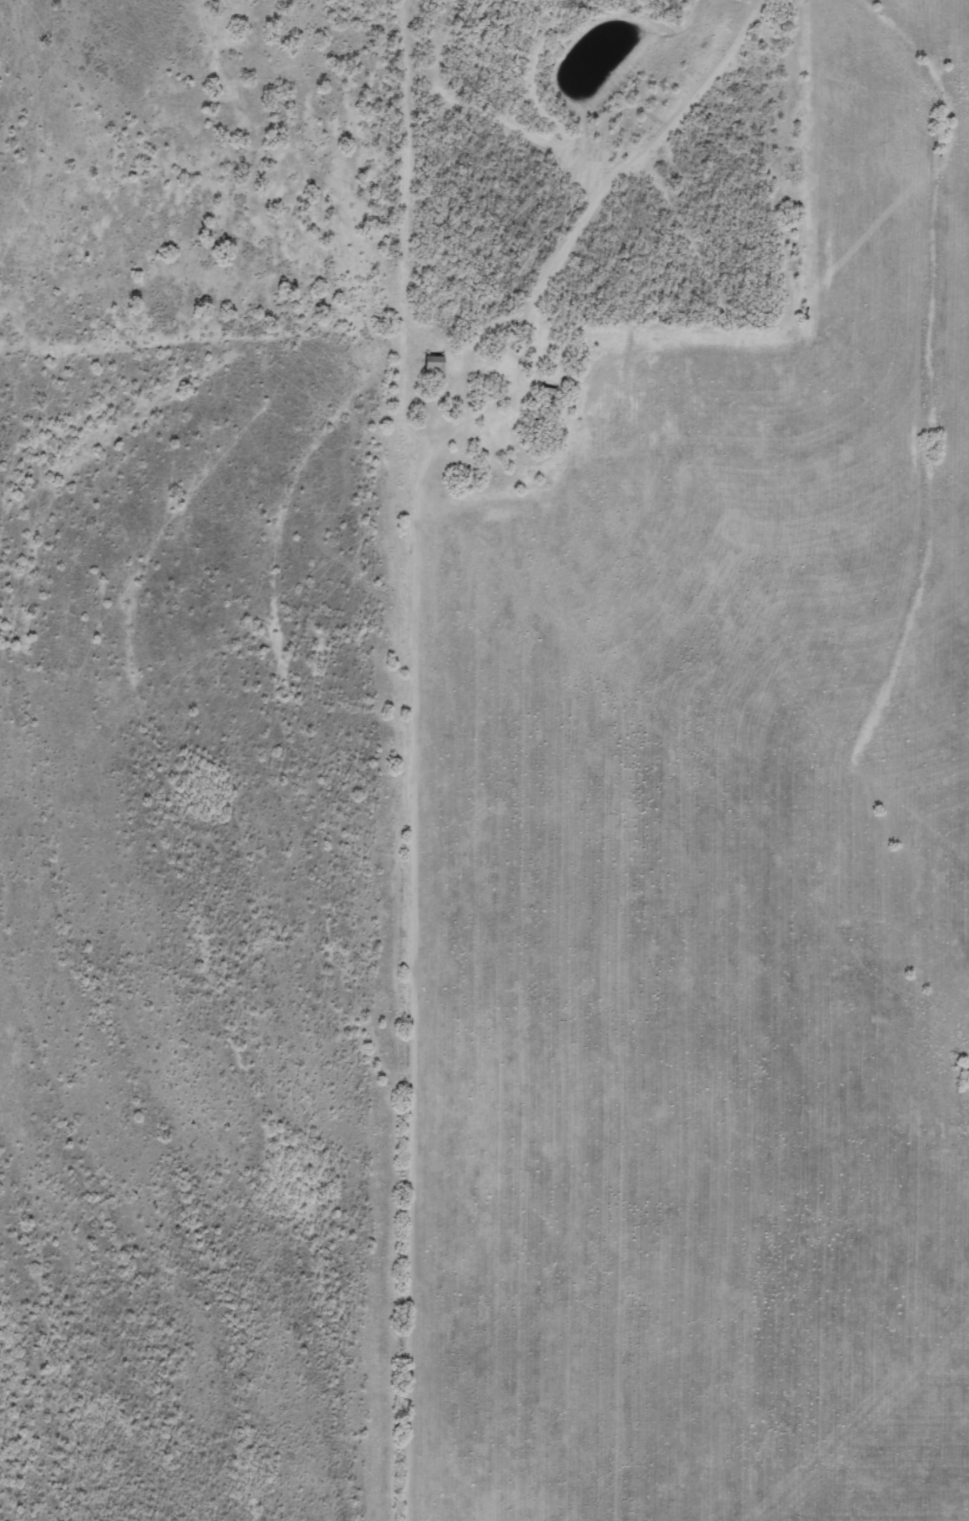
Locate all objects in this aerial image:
building: (426, 366)

